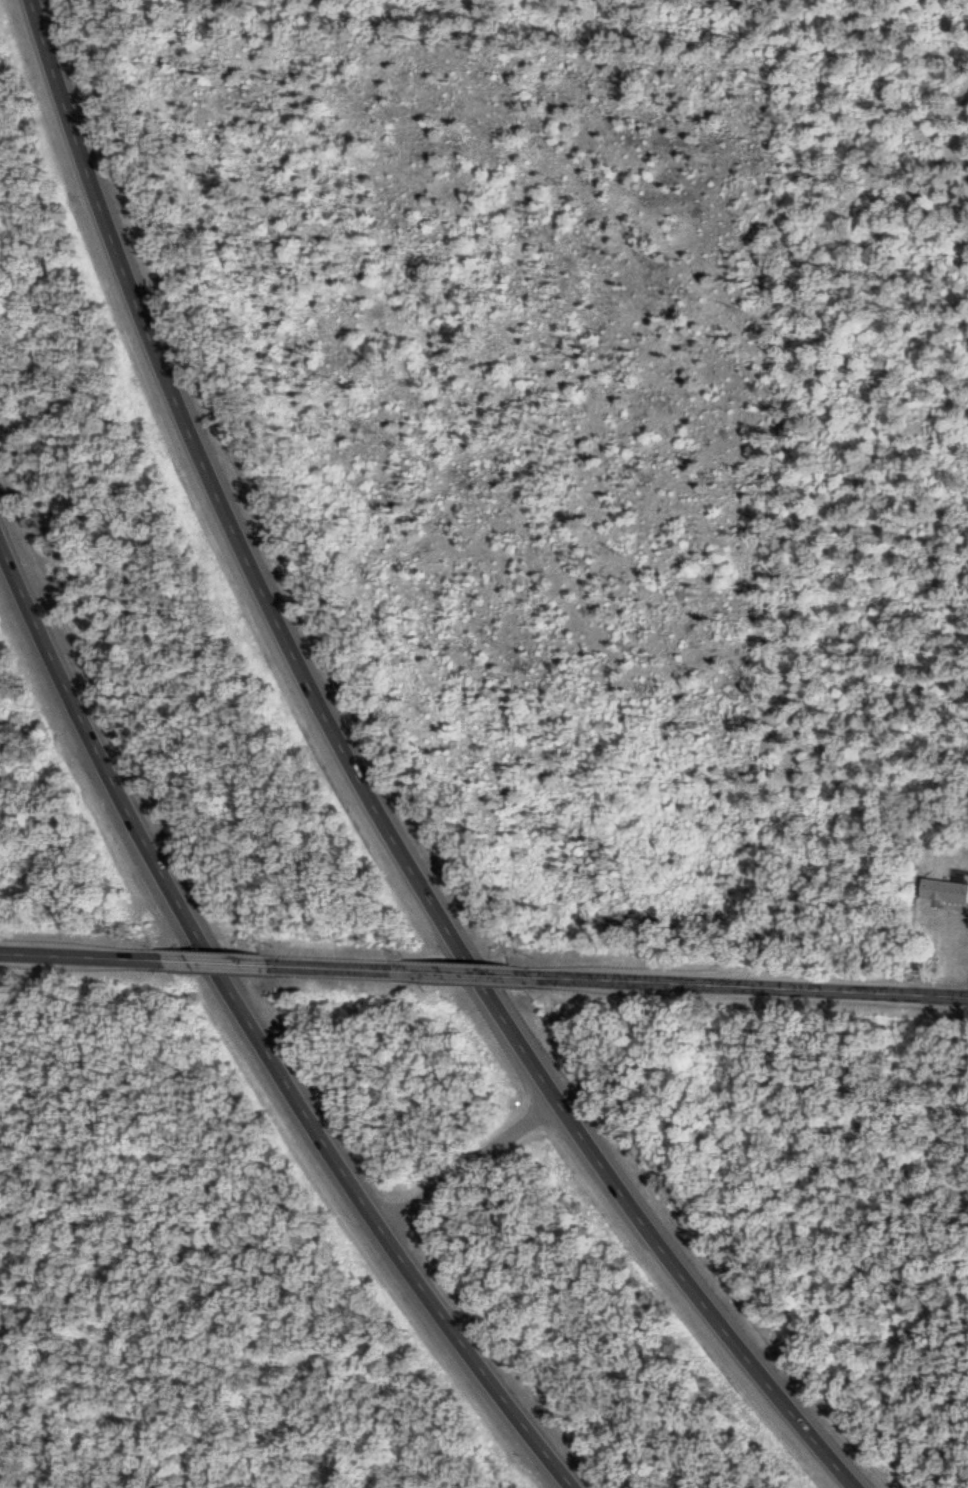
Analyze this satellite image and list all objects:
road: (144, 305)
road: (33, 587)
building: (943, 893)
road: (460, 938)
road: (83, 952)
road: (219, 957)
road: (343, 962)
road: (465, 967)
road: (741, 981)
road: (282, 1074)
road: (477, 1166)
road: (770, 1374)
road: (569, 1469)

